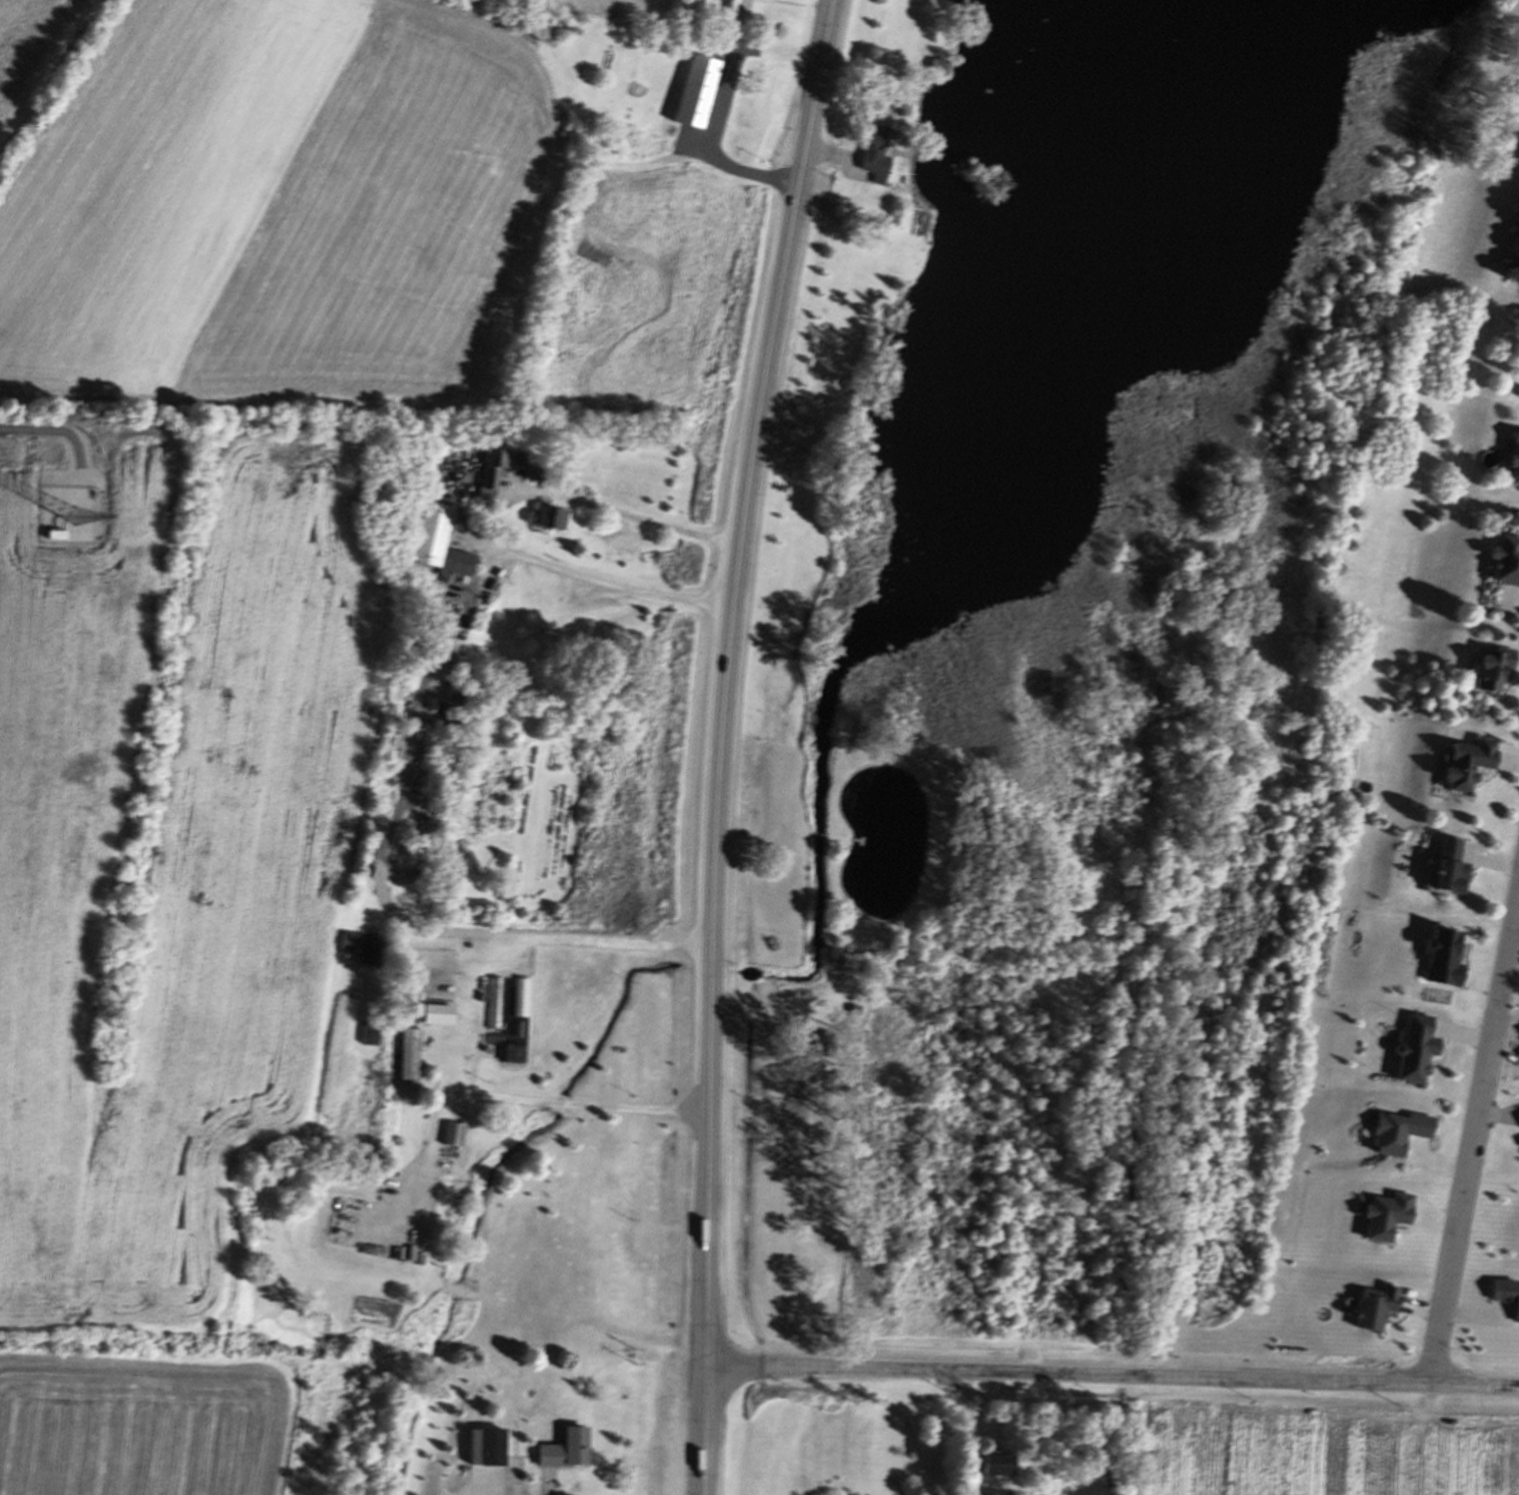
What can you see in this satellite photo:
building: (944, 69)
building: (703, 93)
building: (882, 154)
building: (1512, 228)
road: (51, 431)
building: (1509, 461)
building: (537, 474)
road: (627, 513)
building: (553, 517)
building: (442, 542)
building: (1500, 562)
road: (604, 583)
building: (1484, 670)
road: (723, 743)
building: (1457, 766)
road: (401, 795)
building: (1439, 870)
building: (1434, 958)
park: (817, 982)
building: (495, 1005)
road: (774, 1011)
road: (461, 1029)
building: (1408, 1051)
building: (413, 1055)
building: (1389, 1133)
building: (456, 1135)
road: (1474, 1144)
building: (1516, 1147)
road: (1114, 1377)
building: (491, 1448)
building: (571, 1451)
building: (1005, 1466)

